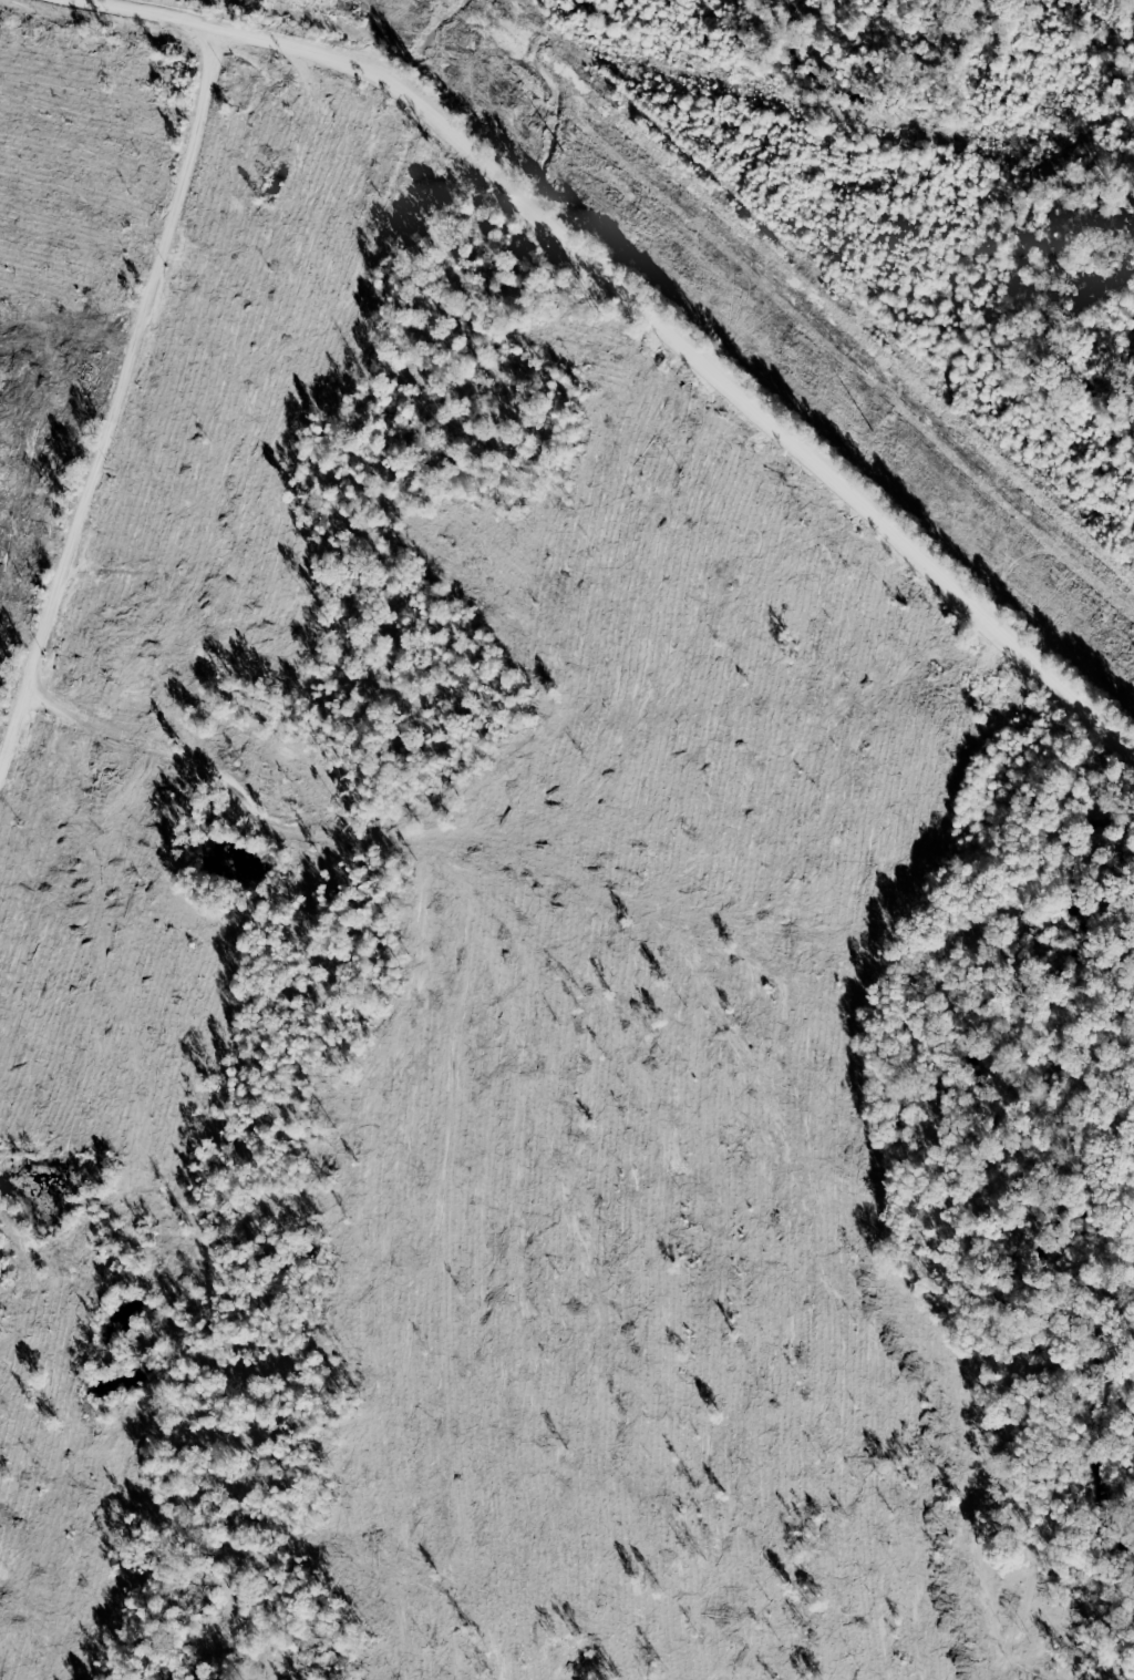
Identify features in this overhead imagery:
power tower: (564, 160)
road: (662, 318)
road: (113, 392)
power tower: (878, 439)

